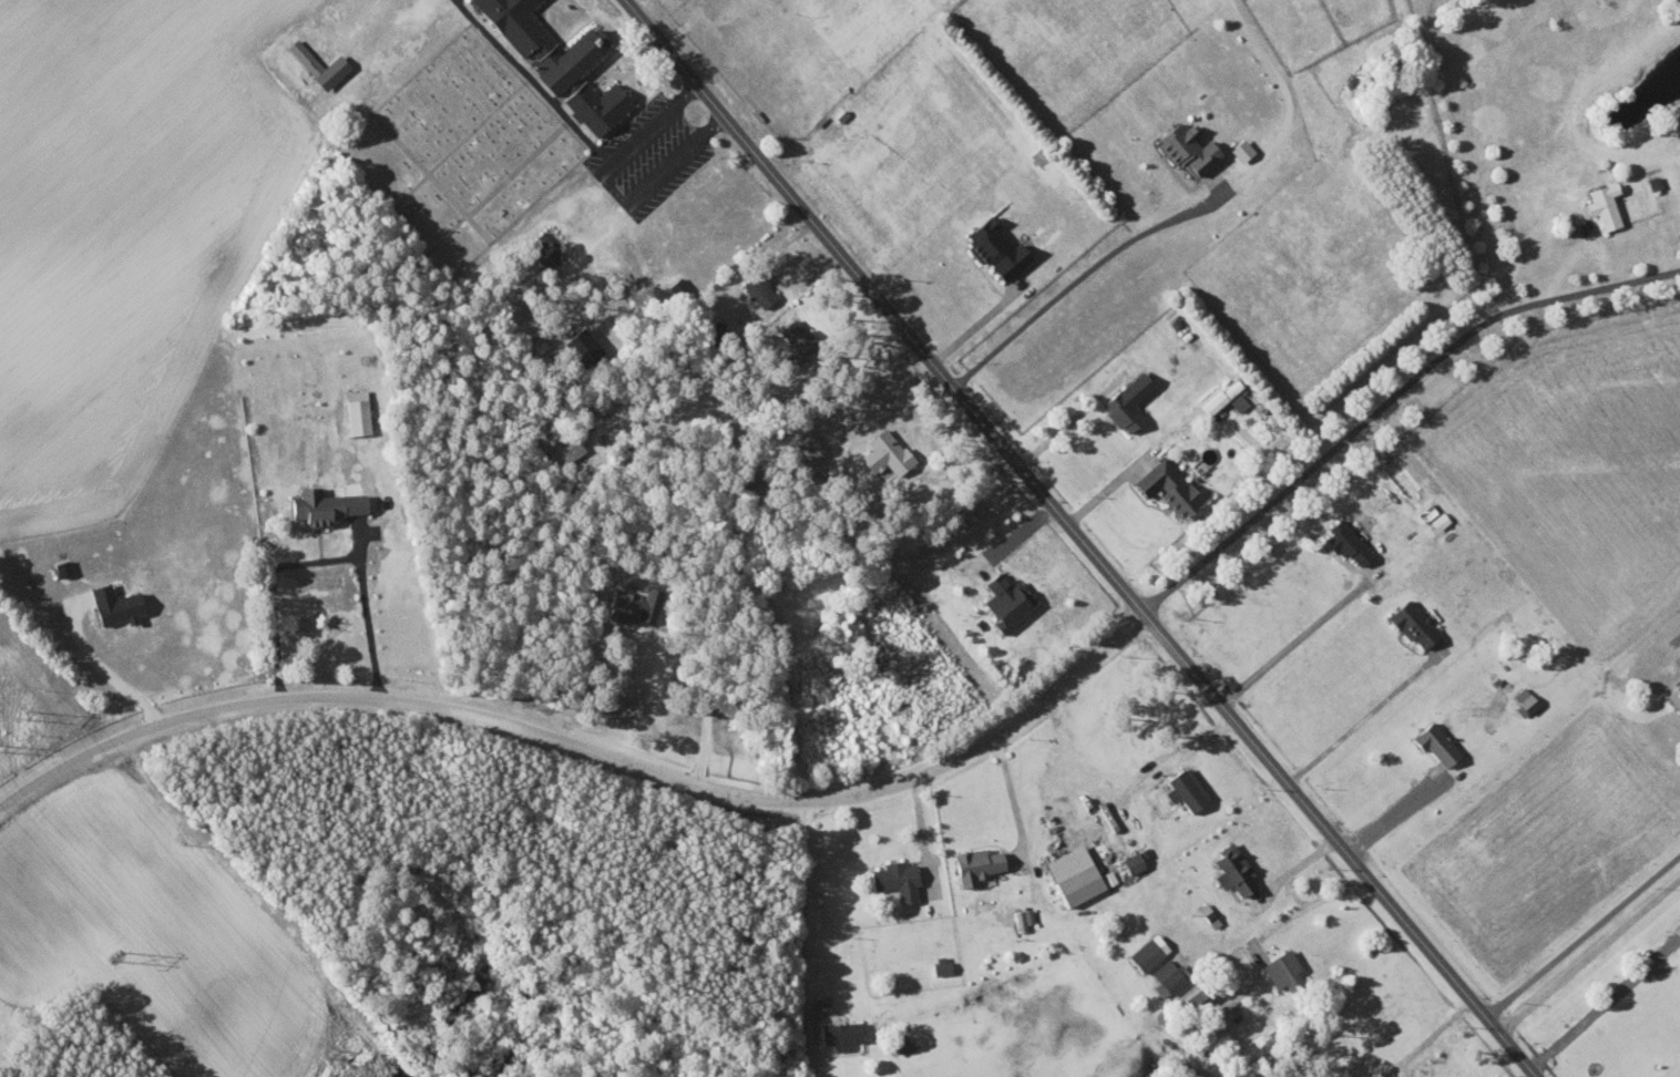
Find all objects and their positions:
building: (543, 42)
building: (319, 65)
road: (534, 82)
building: (597, 105)
road: (656, 123)
building: (1190, 144)
road: (667, 168)
building: (1605, 206)
building: (996, 249)
building: (759, 289)
road: (1058, 298)
building: (798, 337)
building: (583, 348)
building: (1222, 397)
building: (1239, 402)
building: (1128, 403)
building: (358, 412)
building: (553, 442)
building: (808, 445)
building: (887, 457)
building: (1169, 486)
building: (324, 504)
building: (1441, 521)
road: (1088, 535)
building: (1348, 541)
building: (1007, 601)
building: (633, 604)
building: (120, 608)
building: (1414, 623)
road: (1292, 645)
building: (1674, 695)
building: (1526, 700)
power tower: (27, 715)
road: (1358, 724)
building: (1436, 742)
road: (903, 779)
building: (1186, 788)
building: (1135, 860)
building: (976, 864)
building: (1233, 870)
building: (1078, 874)
building: (897, 879)
building: (1024, 917)
road: (1584, 937)
building: (1149, 952)
road: (1590, 955)
power tower: (119, 956)
building: (941, 964)
building: (1284, 970)
building: (1171, 974)
road: (1606, 1004)
building: (842, 1034)
road: (1432, 1042)
power tower: (335, 1054)

